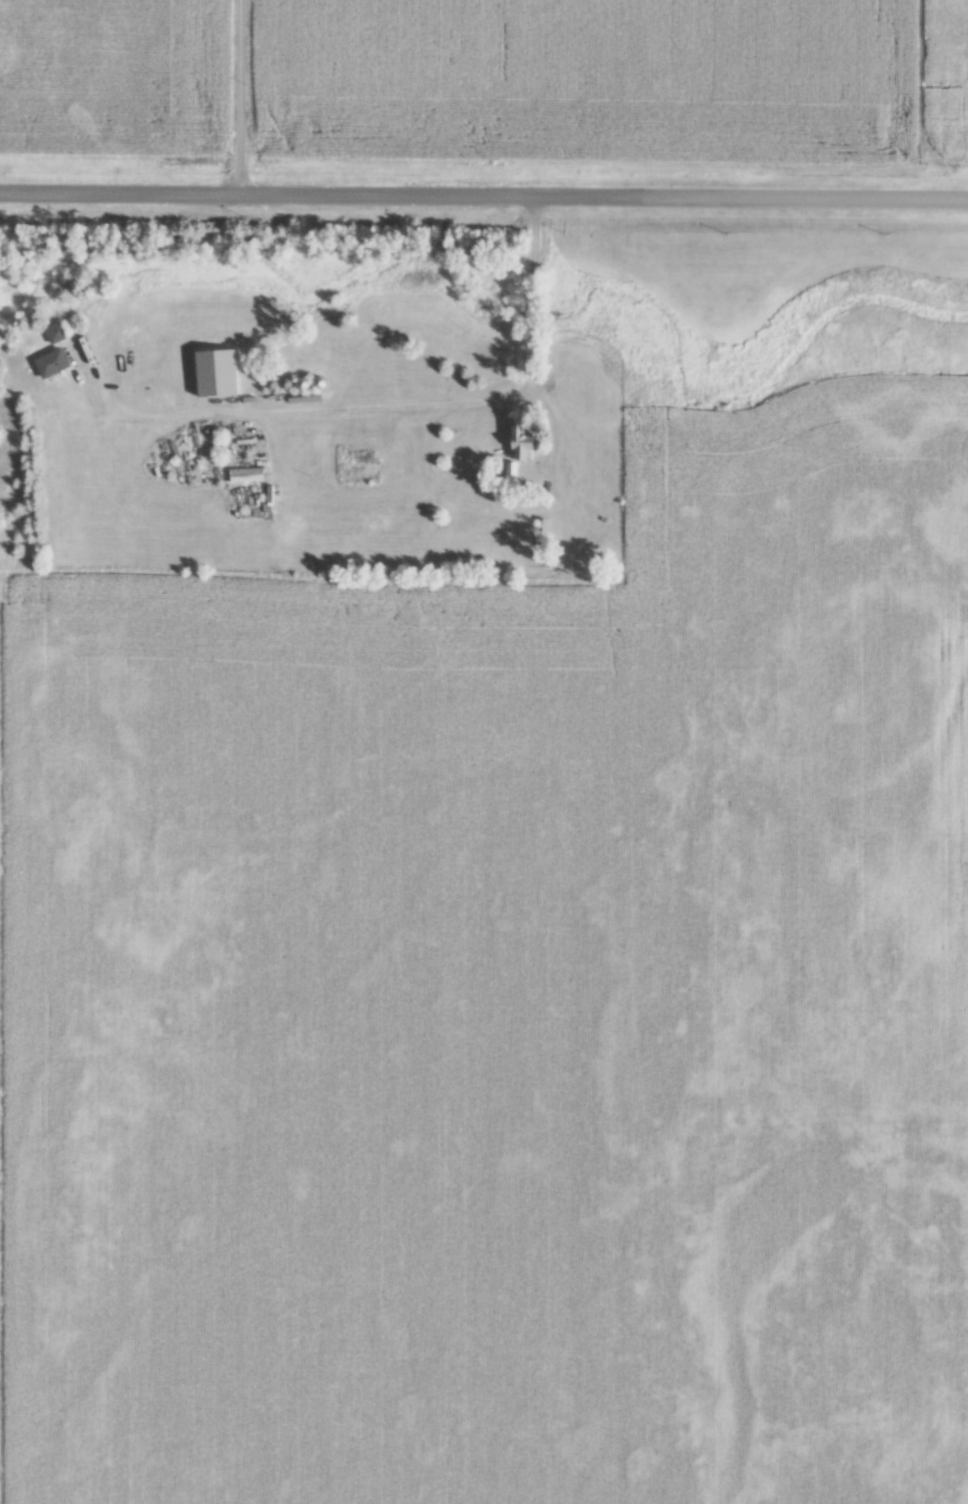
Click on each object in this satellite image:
crop: (954, 76)
crop: (113, 79)
crop: (592, 83)
road: (242, 98)
road: (483, 199)
road: (529, 311)
building: (59, 333)
building: (55, 364)
building: (524, 444)
building: (362, 453)
road: (578, 475)
building: (544, 532)
crop: (510, 1048)
crop: (0, 1481)

